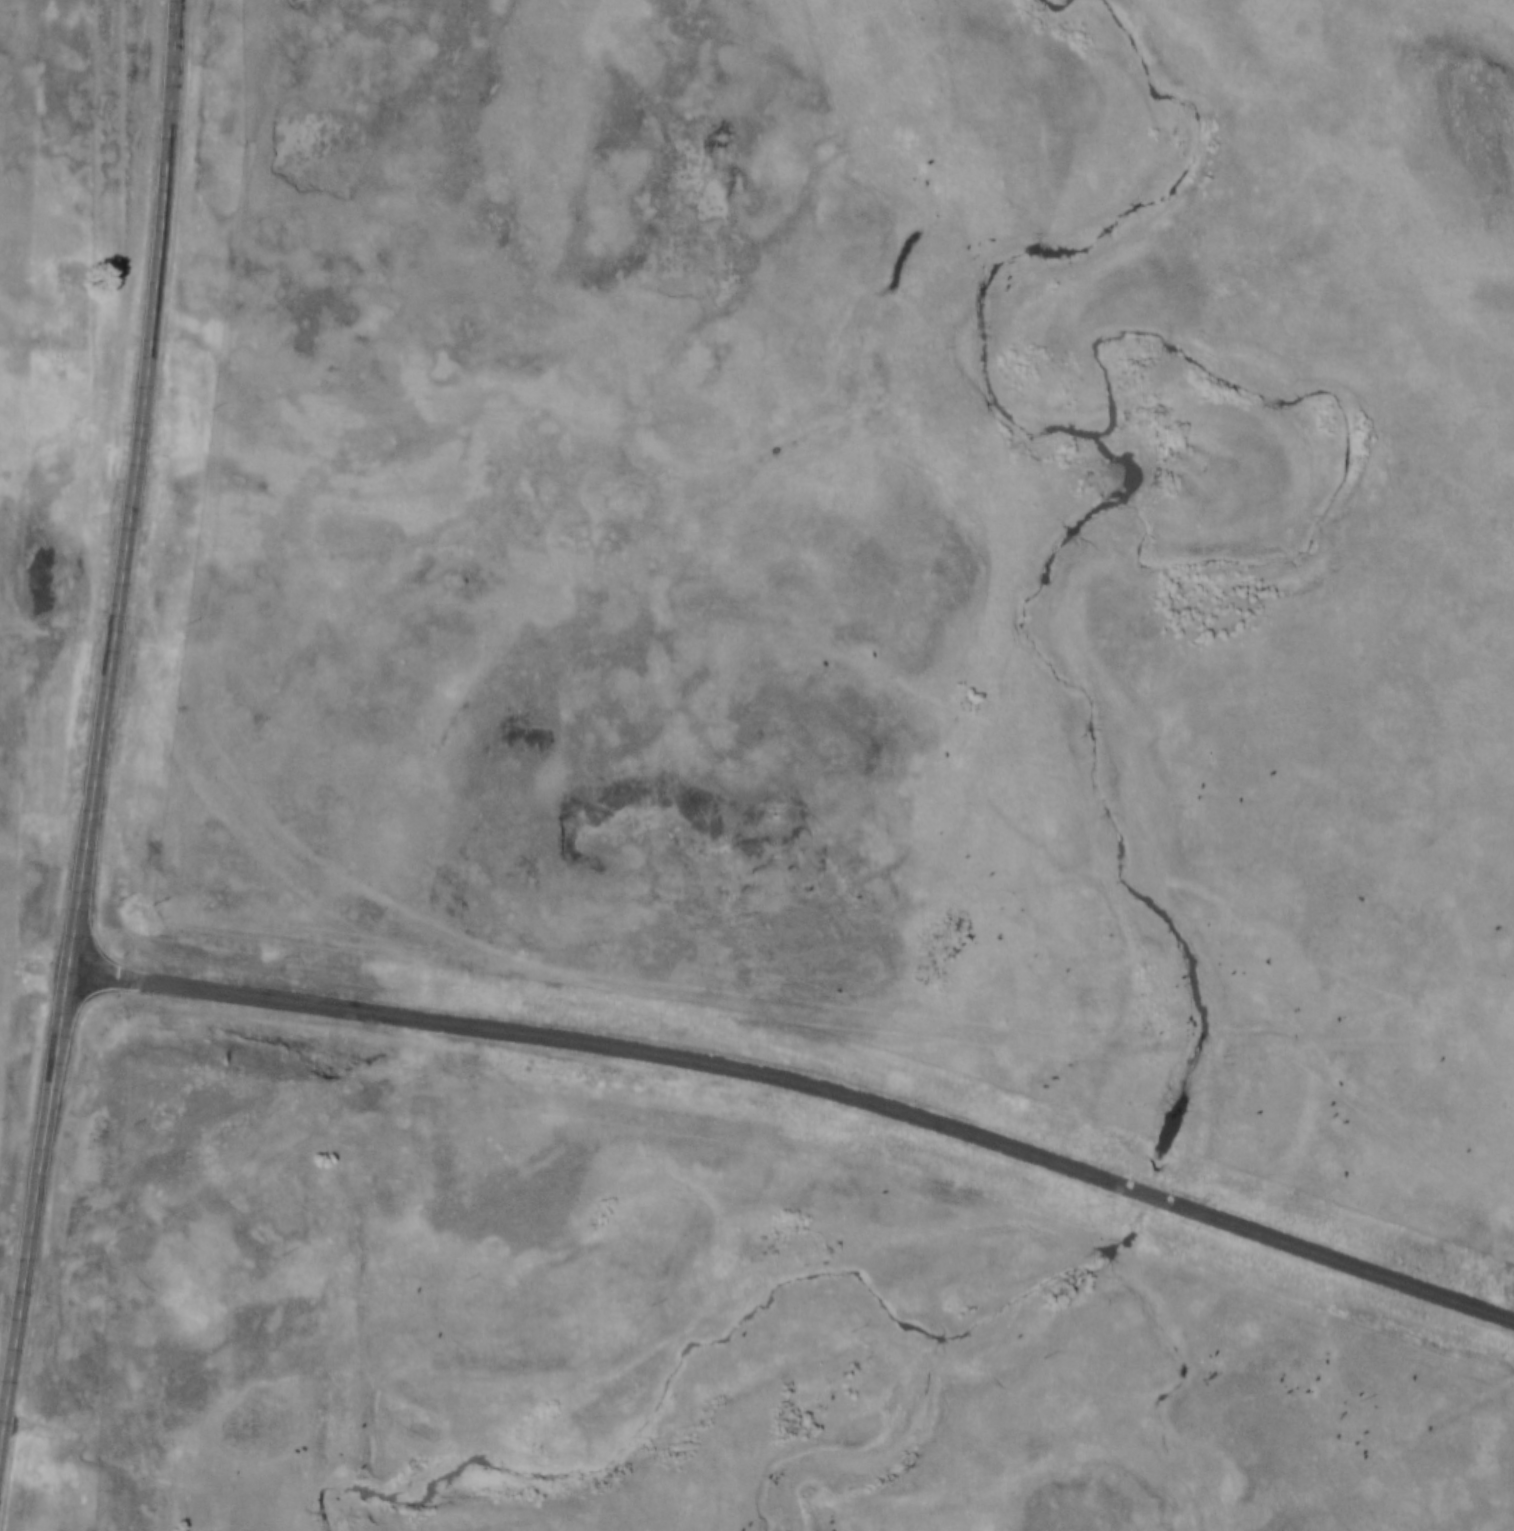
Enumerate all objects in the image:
road: (106, 726)
road: (806, 1087)
road: (1446, 1371)
road: (2, 1419)

